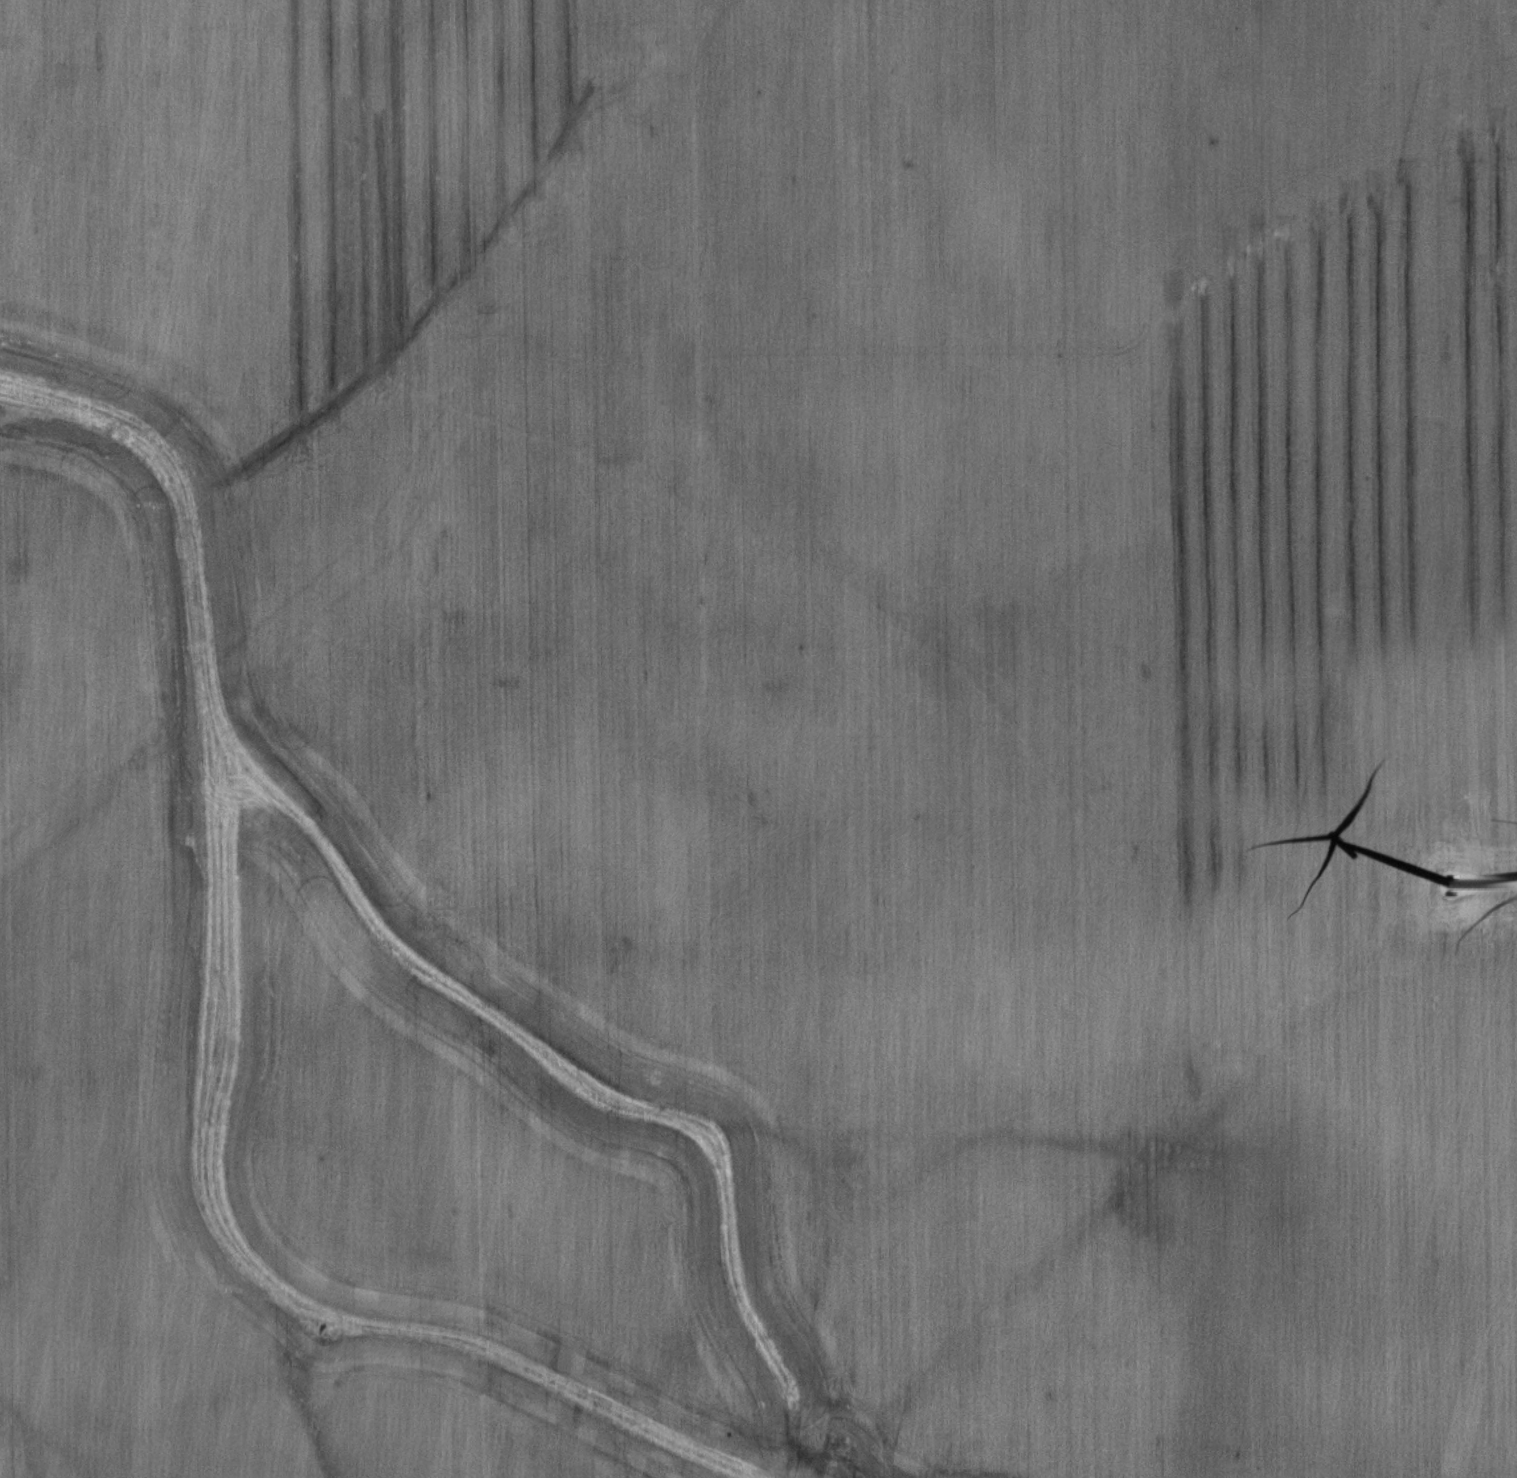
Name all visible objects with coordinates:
wind turbine: (1455, 887)

